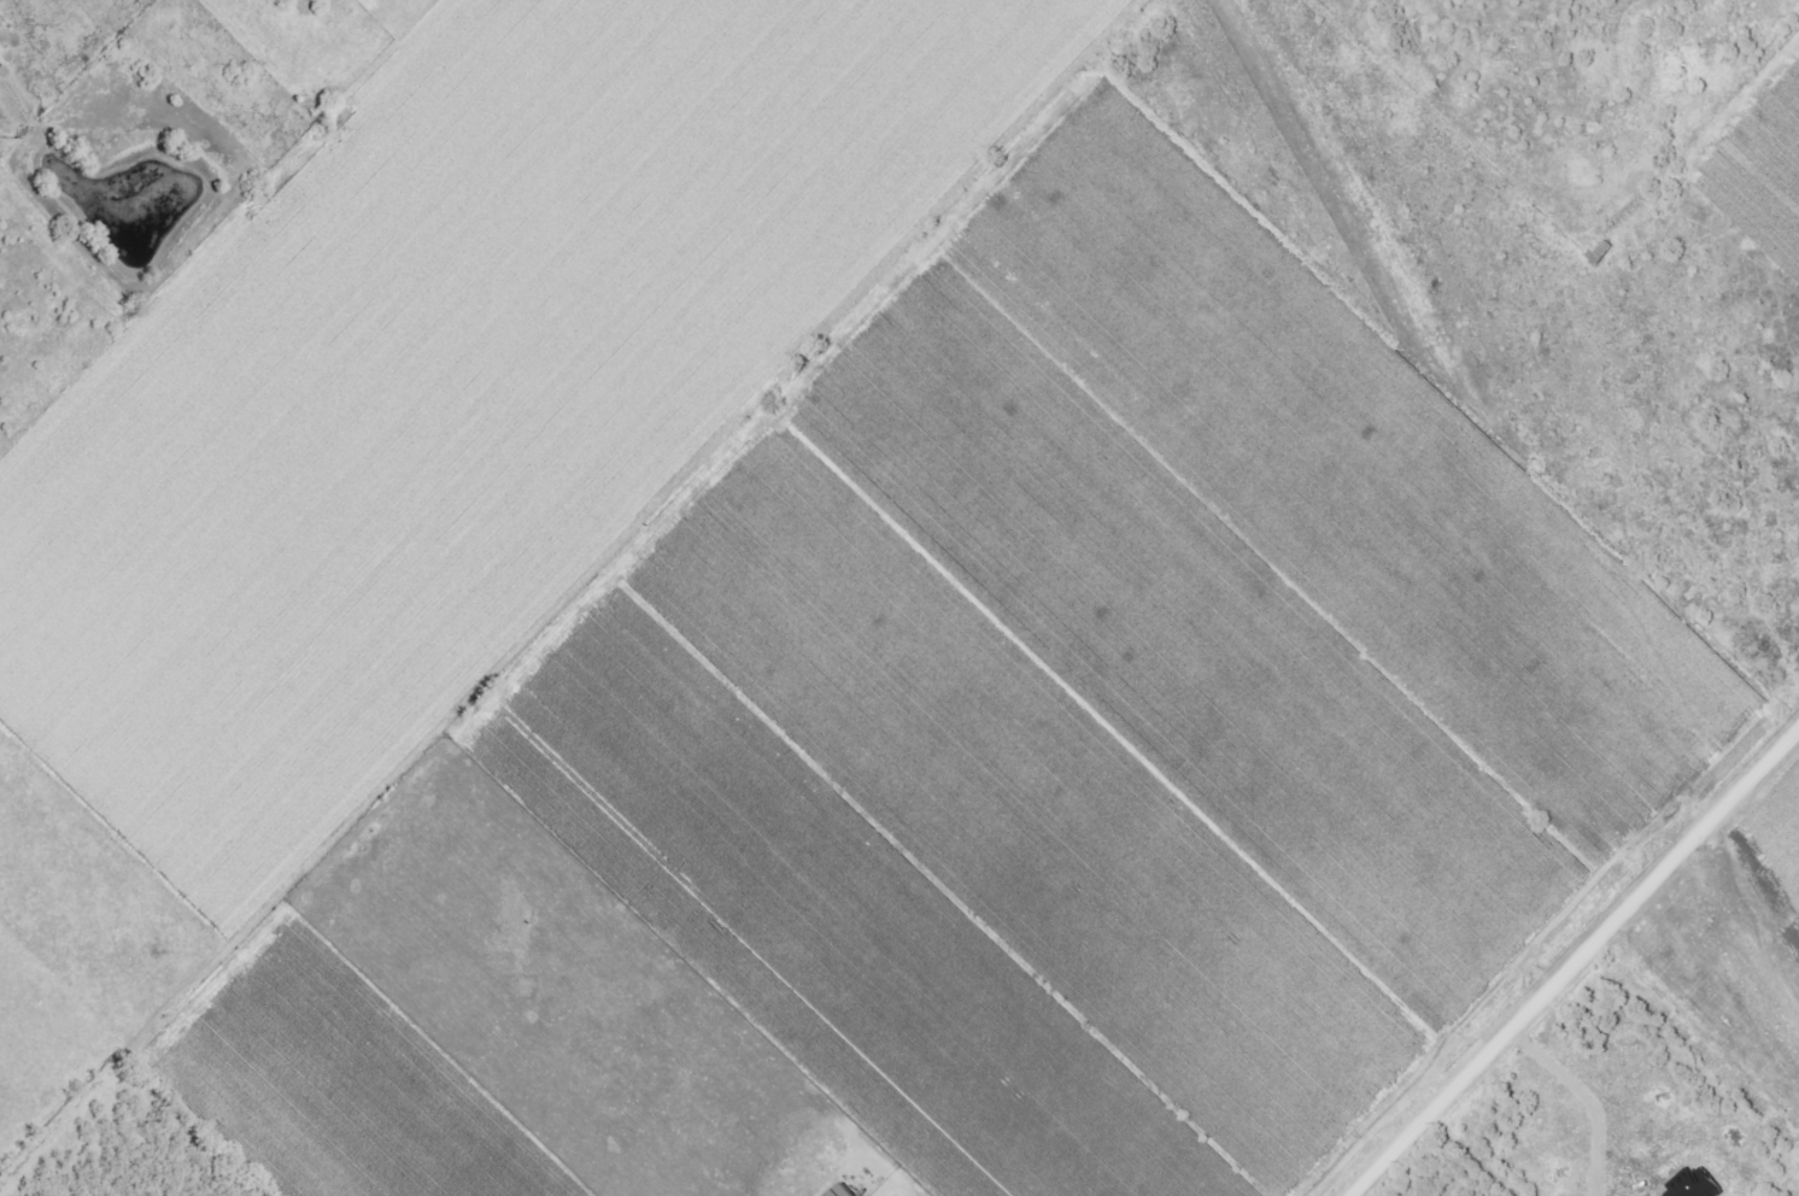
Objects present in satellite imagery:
crop: (1764, 152)
crop: (462, 385)
crop: (994, 755)
crop: (80, 945)
road: (1578, 965)
road: (1588, 1098)
building: (843, 1191)

